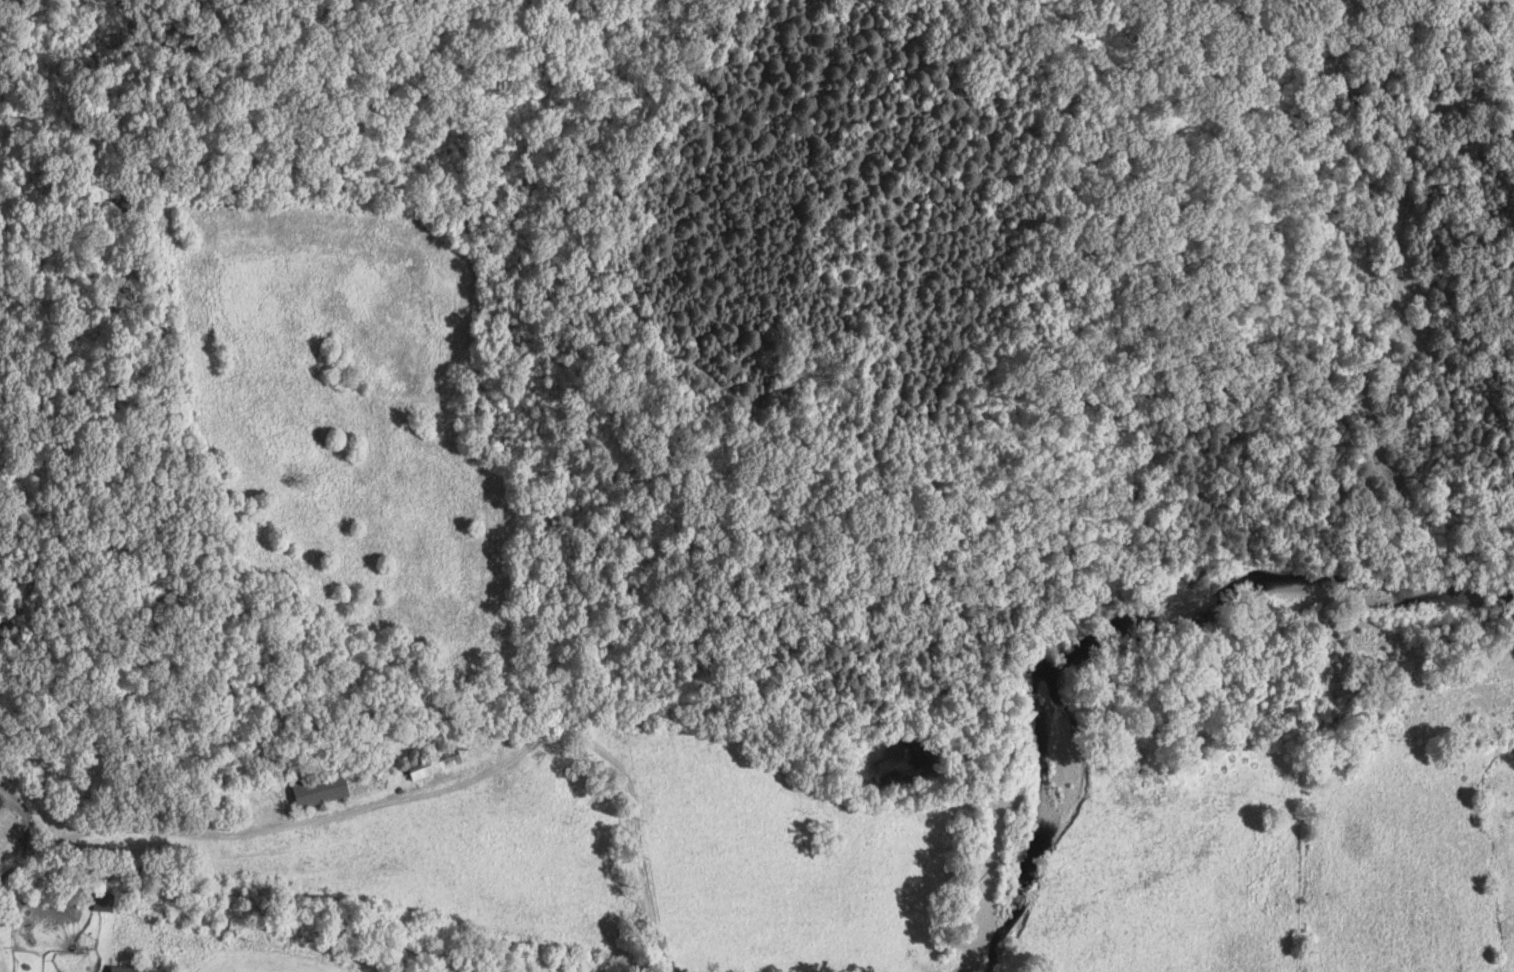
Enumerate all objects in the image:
road: (412, 762)
building: (430, 765)
building: (314, 793)
building: (99, 905)
building: (118, 971)

